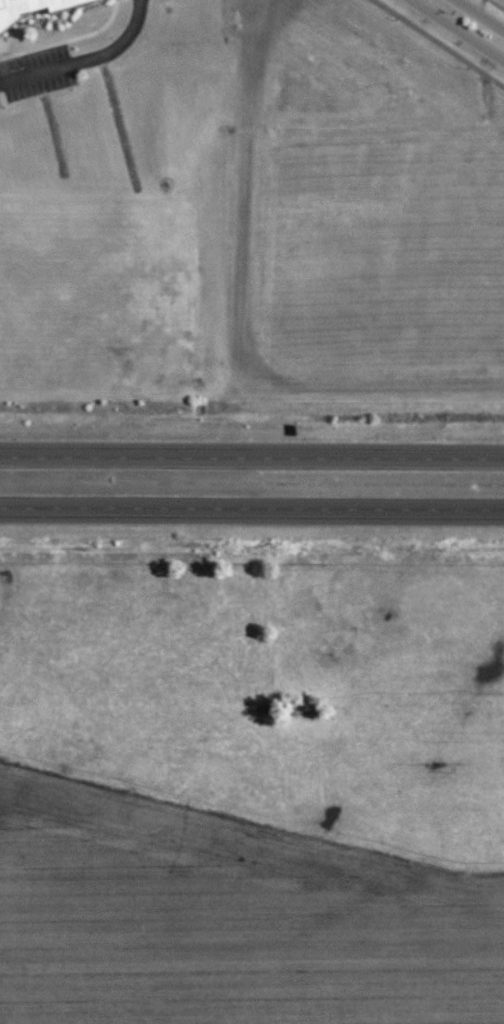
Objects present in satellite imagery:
building: (31, 8)
road: (479, 16)
road: (457, 30)
road: (437, 43)
road: (86, 60)
parking lot: (36, 74)
road: (90, 452)
road: (342, 453)
road: (93, 509)
road: (344, 510)

